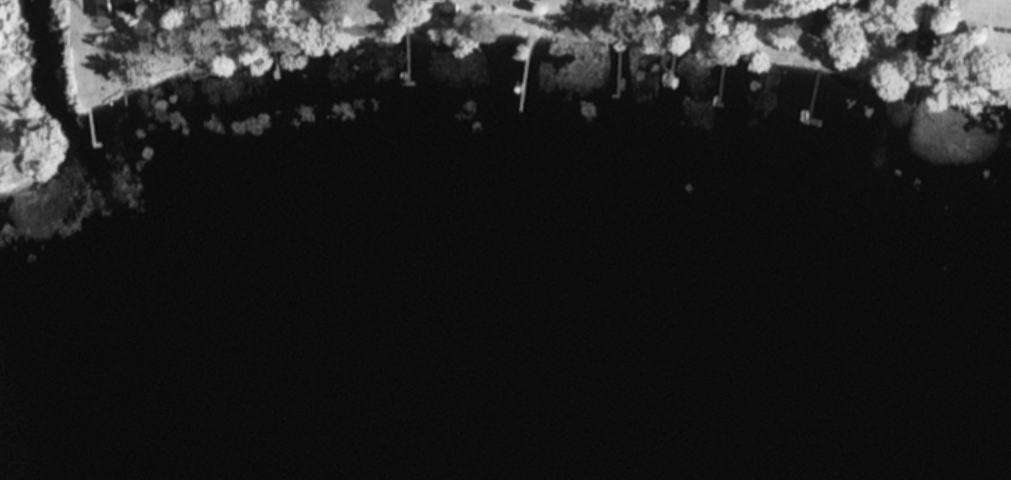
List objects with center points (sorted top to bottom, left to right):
building: (272, 1)
building: (315, 1)
building: (419, 1)
building: (170, 4)
building: (673, 4)
building: (123, 7)
building: (95, 9)
building: (710, 9)
building: (927, 45)
park: (979, 49)

